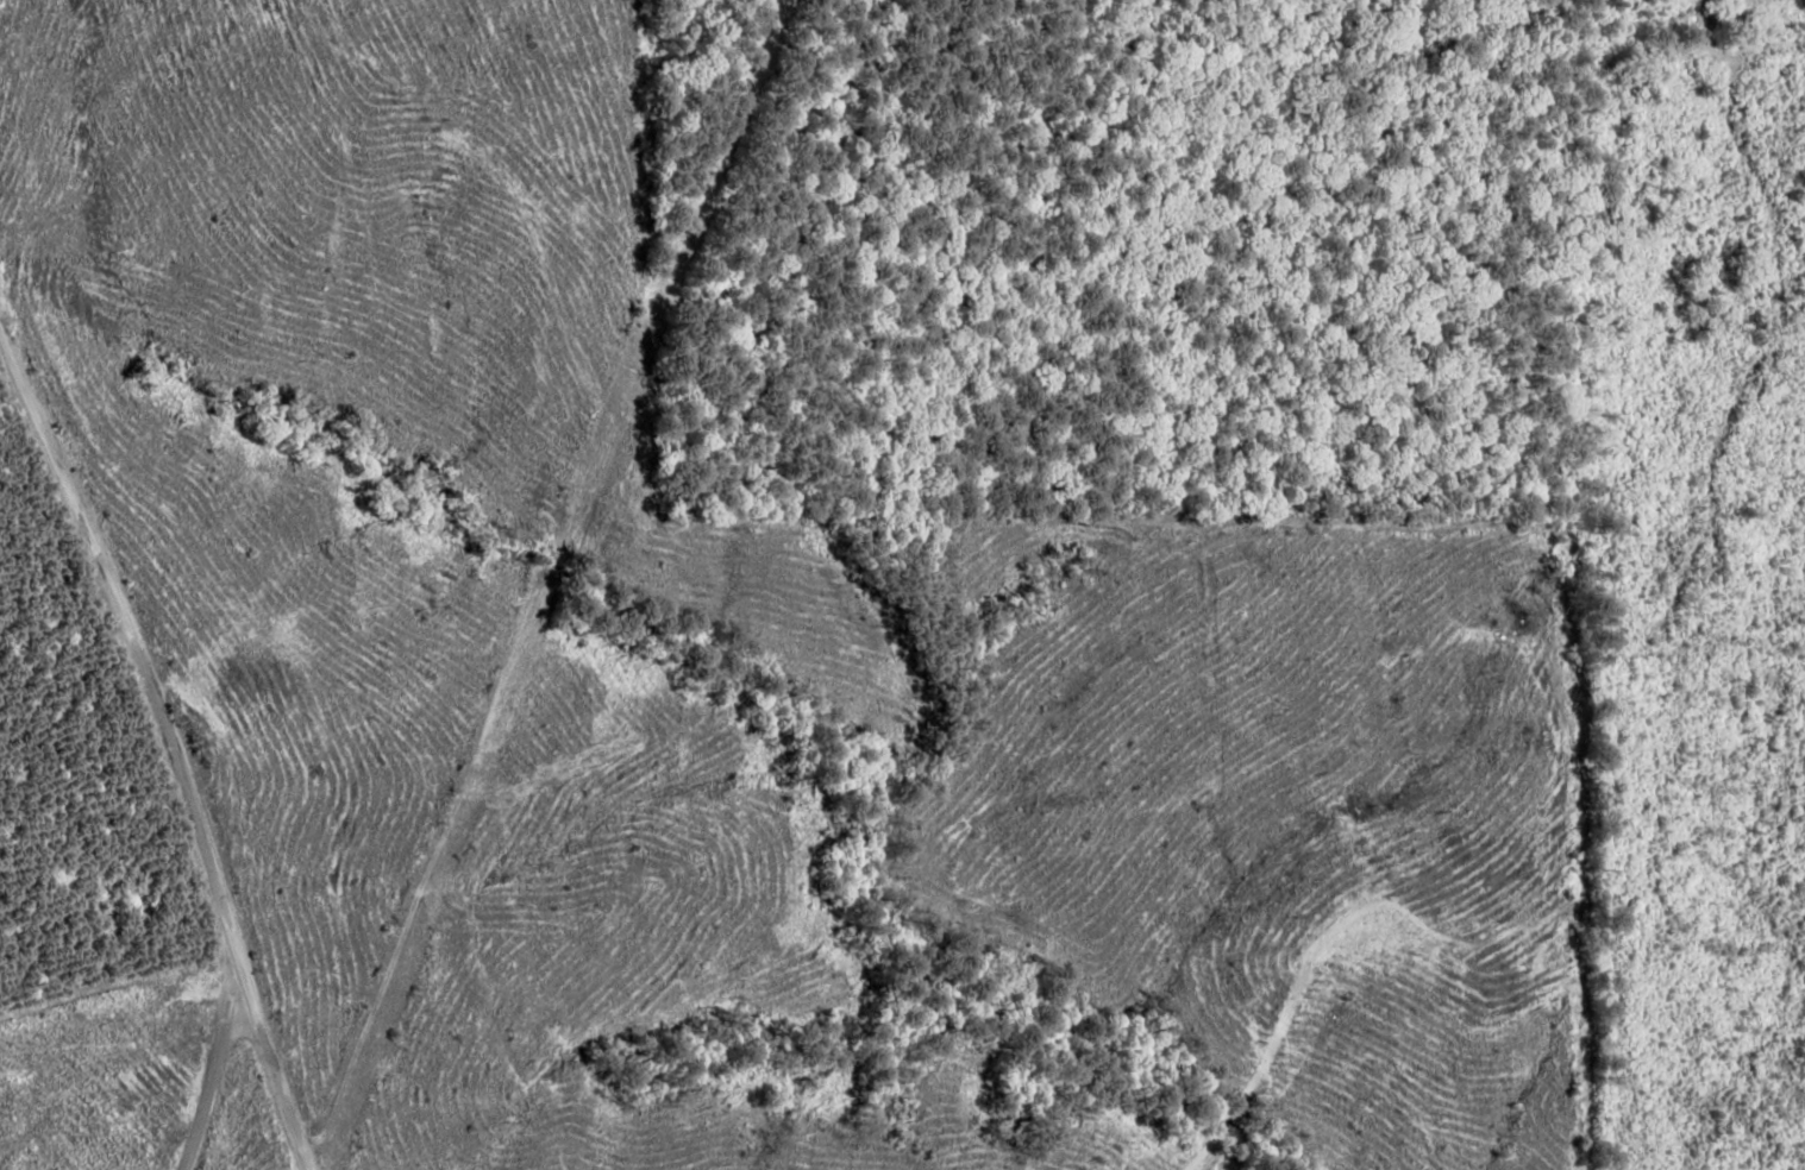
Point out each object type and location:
road: (132, 715)
road: (202, 1119)

